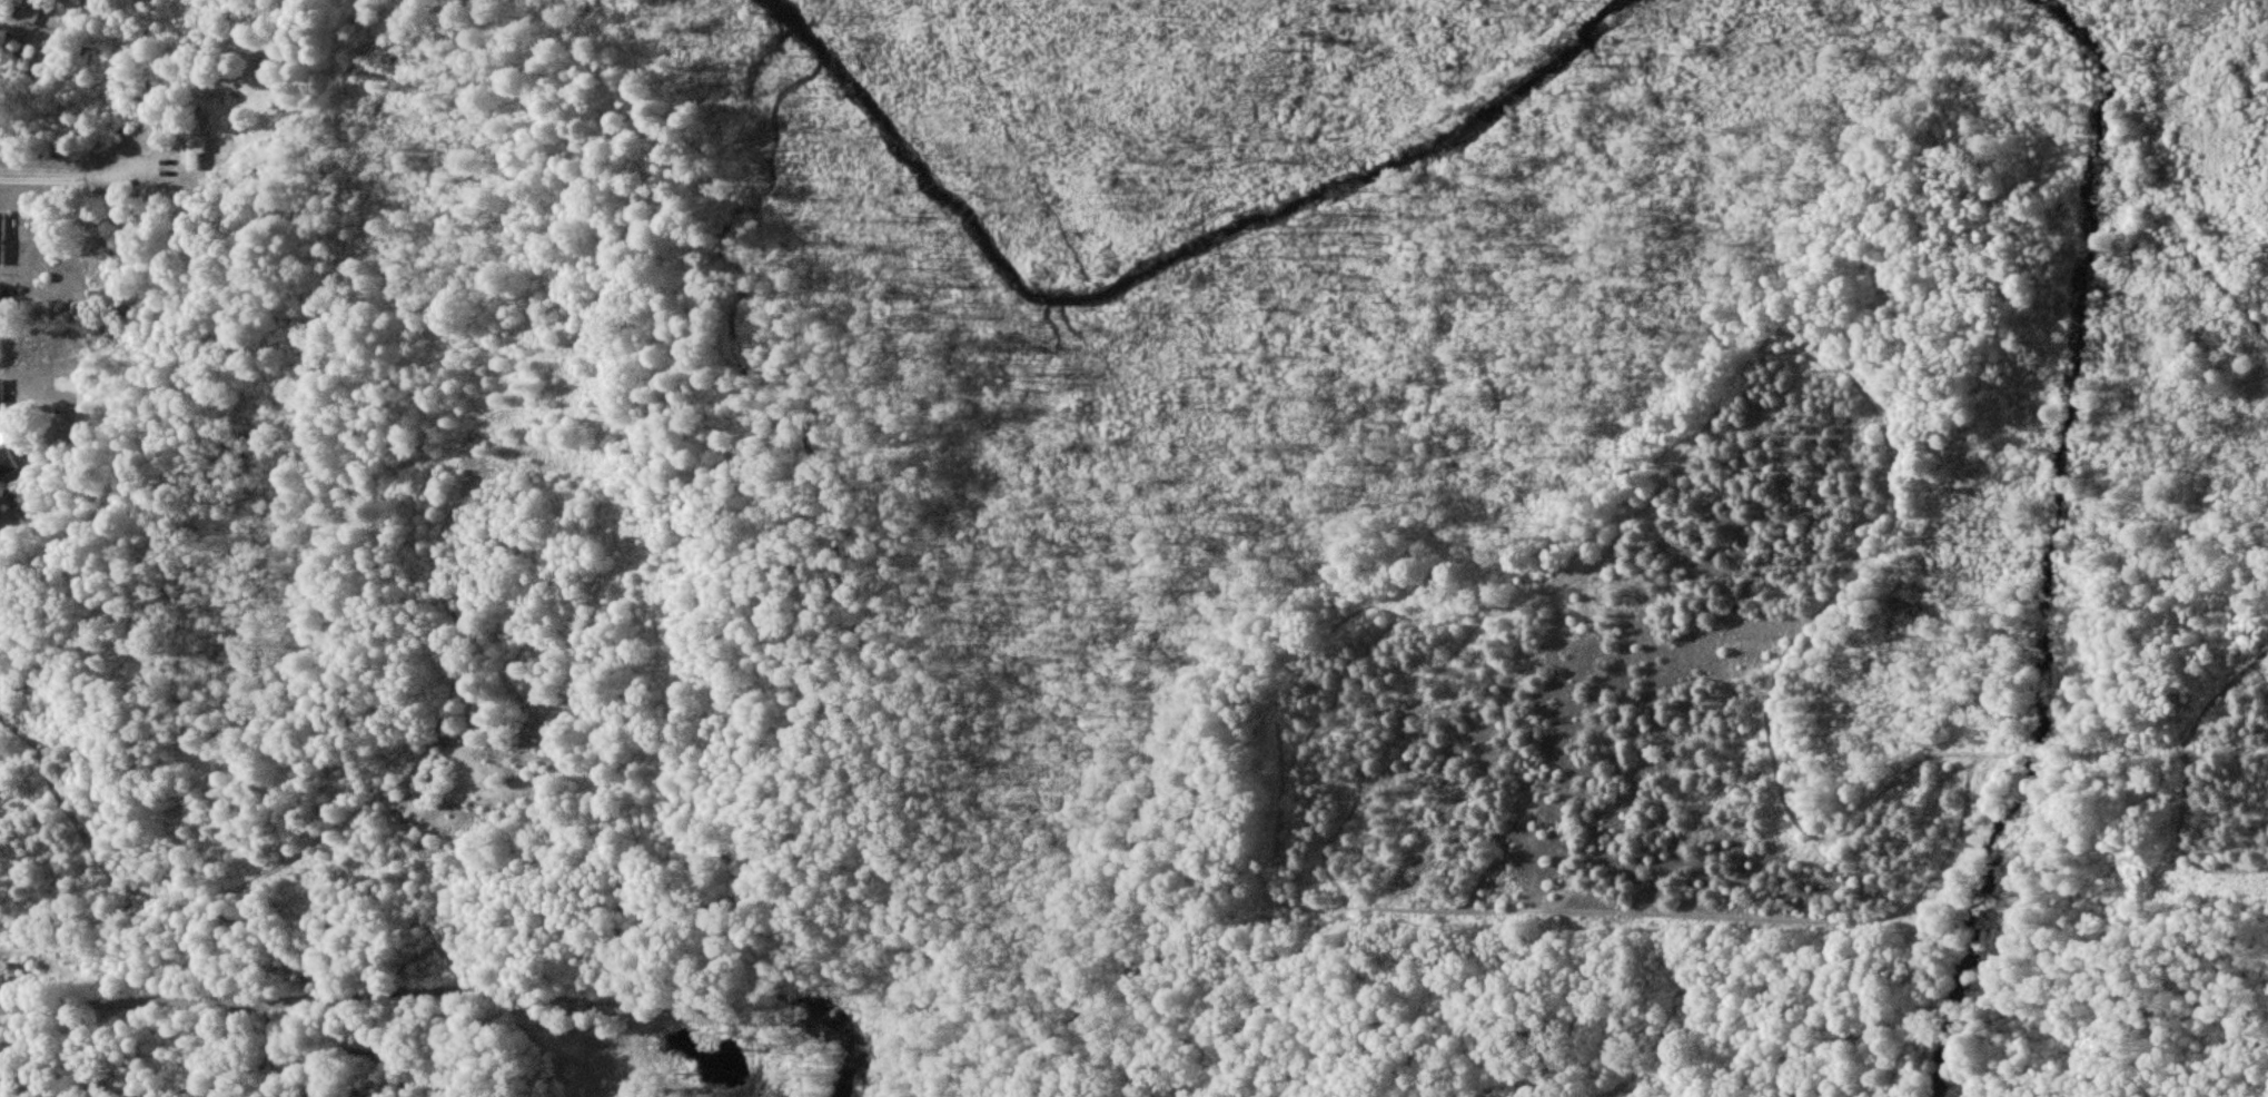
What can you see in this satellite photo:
building: (26, 12)
building: (194, 145)
road: (78, 180)
building: (1, 236)
building: (1, 399)
building: (7, 462)
building: (2, 980)

